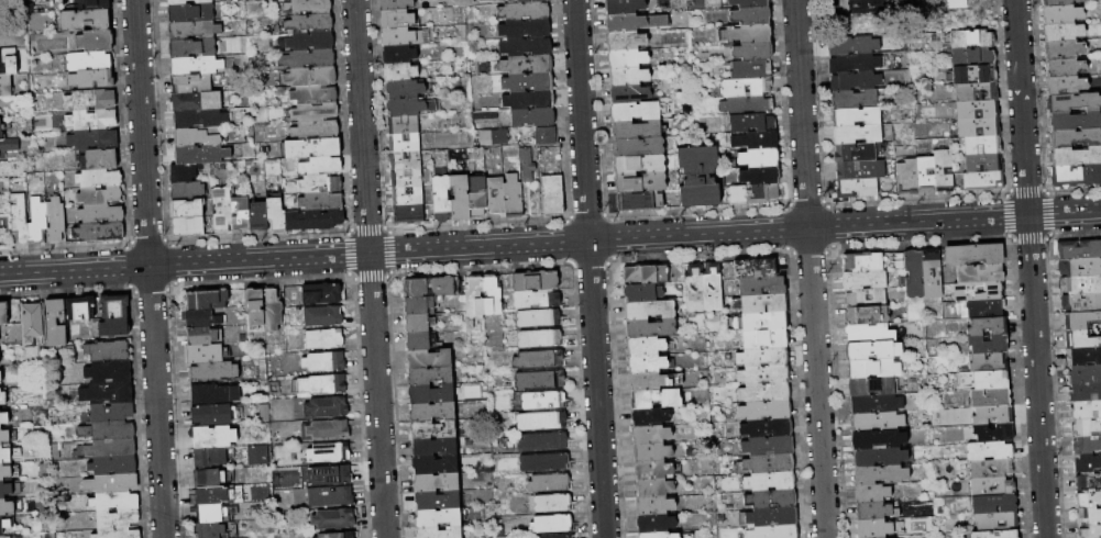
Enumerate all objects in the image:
building: (511, 0)
building: (529, 1)
building: (188, 2)
building: (1059, 2)
building: (749, 3)
building: (954, 3)
building: (96, 4)
building: (396, 4)
building: (308, 7)
building: (624, 7)
building: (525, 11)
building: (191, 13)
building: (1061, 14)
building: (750, 16)
building: (397, 19)
building: (85, 20)
building: (634, 22)
building: (310, 23)
building: (525, 30)
building: (195, 31)
building: (1063, 32)
building: (746, 34)
building: (405, 36)
building: (972, 38)
building: (626, 41)
building: (95, 42)
building: (308, 42)
building: (854, 45)
building: (526, 47)
building: (194, 48)
building: (1064, 49)
building: (753, 51)
building: (399, 54)
building: (973, 56)
building: (308, 59)
building: (627, 59)
building: (9, 61)
building: (88, 61)
building: (855, 64)
building: (527, 65)
building: (197, 66)
building: (1066, 67)
building: (751, 70)
building: (400, 71)
building: (975, 74)
building: (311, 77)
building: (628, 77)
building: (92, 79)
building: (856, 81)
building: (528, 82)
building: (192, 83)
building: (1066, 85)
building: (5, 86)
building: (747, 88)
building: (405, 89)
building: (977, 92)
building: (315, 94)
building: (629, 94)
building: (90, 100)
building: (529, 100)
building: (855, 100)
building: (197, 101)
building: (1074, 102)
building: (747, 105)
building: (409, 107)
road: (1021, 108)
building: (978, 110)
building: (639, 111)
building: (316, 112)
building: (485, 115)
building: (856, 116)
building: (533, 117)
building: (200, 119)
building: (91, 120)
building: (1074, 121)
building: (751, 123)
building: (405, 125)
building: (979, 127)
building: (1, 130)
building: (317, 130)
building: (638, 130)
road: (142, 133)
building: (857, 134)
building: (198, 136)
building: (546, 136)
building: (499, 137)
building: (1076, 138)
building: (92, 139)
building: (755, 141)
building: (405, 143)
building: (982, 145)
building: (8, 147)
building: (312, 147)
building: (638, 147)
building: (855, 153)
building: (201, 154)
building: (1076, 157)
building: (759, 158)
building: (99, 160)
building: (406, 160)
building: (983, 162)
building: (527, 165)
building: (639, 165)
building: (321, 166)
building: (860, 170)
building: (944, 170)
building: (185, 171)
building: (926, 175)
building: (760, 176)
building: (1076, 176)
building: (698, 177)
building: (907, 177)
building: (99, 179)
building: (407, 179)
building: (983, 181)
building: (640, 182)
building: (319, 184)
building: (858, 189)
building: (187, 190)
building: (753, 194)
building: (99, 195)
building: (495, 195)
building: (553, 195)
building: (408, 197)
building: (478, 197)
building: (514, 197)
building: (461, 198)
building: (442, 199)
building: (640, 201)
building: (320, 202)
building: (187, 209)
building: (222, 209)
building: (101, 214)
building: (276, 214)
building: (408, 214)
building: (241, 215)
building: (258, 216)
building: (22, 217)
building: (38, 218)
building: (56, 220)
building: (313, 220)
building: (188, 227)
building: (99, 232)
road: (625, 238)
building: (1079, 249)
building: (973, 255)
building: (863, 262)
building: (1079, 267)
road: (370, 268)
building: (755, 268)
road: (590, 269)
road: (810, 269)
road: (75, 270)
building: (646, 273)
building: (914, 273)
building: (932, 274)
building: (980, 274)
building: (865, 280)
building: (536, 281)
building: (762, 285)
building: (1080, 285)
building: (713, 287)
building: (429, 288)
building: (694, 288)
building: (642, 292)
building: (979, 292)
building: (323, 295)
building: (492, 296)
building: (475, 298)
building: (206, 300)
building: (537, 300)
building: (1080, 303)
building: (761, 304)
building: (114, 306)
building: (255, 306)
building: (420, 306)
building: (866, 306)
building: (81, 309)
building: (987, 309)
building: (272, 310)
building: (649, 310)
building: (3, 314)
building: (323, 316)
building: (201, 318)
building: (539, 318)
building: (1080, 320)
building: (747, 323)
building: (56, 324)
building: (417, 324)
building: (988, 326)
building: (114, 327)
building: (650, 328)
building: (32, 329)
building: (870, 333)
building: (203, 336)
building: (324, 339)
building: (540, 339)
building: (764, 339)
building: (1081, 339)
building: (418, 341)
building: (988, 345)
building: (648, 346)
building: (108, 351)
building: (873, 351)
building: (203, 354)
building: (763, 357)
building: (1083, 357)
building: (0, 359)
building: (429, 359)
building: (324, 360)
building: (538, 360)
building: (989, 362)
building: (649, 363)
building: (871, 369)
building: (109, 372)
building: (214, 372)
building: (764, 374)
building: (1083, 374)
building: (1, 377)
building: (430, 377)
road: (1036, 377)
building: (539, 380)
building: (654, 380)
building: (991, 380)
building: (0, 383)
building: (322, 385)
building: (872, 386)
building: (275, 389)
building: (107, 393)
building: (764, 393)
building: (1085, 393)
building: (214, 394)
building: (431, 394)
building: (656, 399)
building: (990, 399)
building: (3, 401)
building: (543, 401)
road: (157, 402)
building: (876, 404)
building: (327, 407)
building: (766, 410)
building: (1085, 411)
building: (432, 412)
building: (109, 413)
building: (265, 413)
building: (211, 415)
building: (650, 416)
building: (993, 416)
building: (3, 418)
building: (541, 422)
building: (877, 422)
building: (767, 427)
building: (1086, 428)
building: (434, 429)
building: (108, 430)
building: (326, 430)
building: (994, 434)
building: (650, 435)
building: (4, 436)
building: (213, 437)
building: (879, 440)
building: (543, 441)
building: (769, 446)
building: (1086, 446)
building: (434, 447)
building: (109, 448)
building: (990, 451)
building: (652, 452)
building: (330, 453)
building: (5, 455)
building: (258, 456)
building: (210, 457)
building: (879, 458)
building: (544, 462)
building: (1087, 463)
building: (436, 464)
building: (767, 464)
building: (113, 466)
building: (992, 469)
building: (652, 471)
building: (5, 472)
building: (880, 474)
building: (331, 475)
building: (209, 479)
building: (770, 481)
building: (1088, 481)
building: (437, 482)
building: (117, 483)
building: (549, 483)
building: (992, 486)
building: (654, 489)
building: (5, 490)
building: (872, 493)
building: (213, 496)
building: (331, 496)
building: (438, 500)
building: (771, 500)
building: (1088, 500)
building: (114, 502)
building: (553, 503)
building: (994, 504)
building: (654, 506)
building: (7, 507)
building: (872, 512)
building: (213, 514)
building: (770, 517)
building: (1088, 517)
building: (118, 518)
building: (439, 518)
building: (334, 519)
building: (997, 522)
building: (657, 523)
building: (552, 524)
building: (4, 525)
building: (874, 529)
building: (212, 530)
building: (774, 531)
building: (439, 533)
building: (1090, 533)
building: (118, 534)
building: (995, 534)
building: (338, 535)
building: (661, 535)
building: (4, 536)
building: (11, 537)
building: (560, 537)

